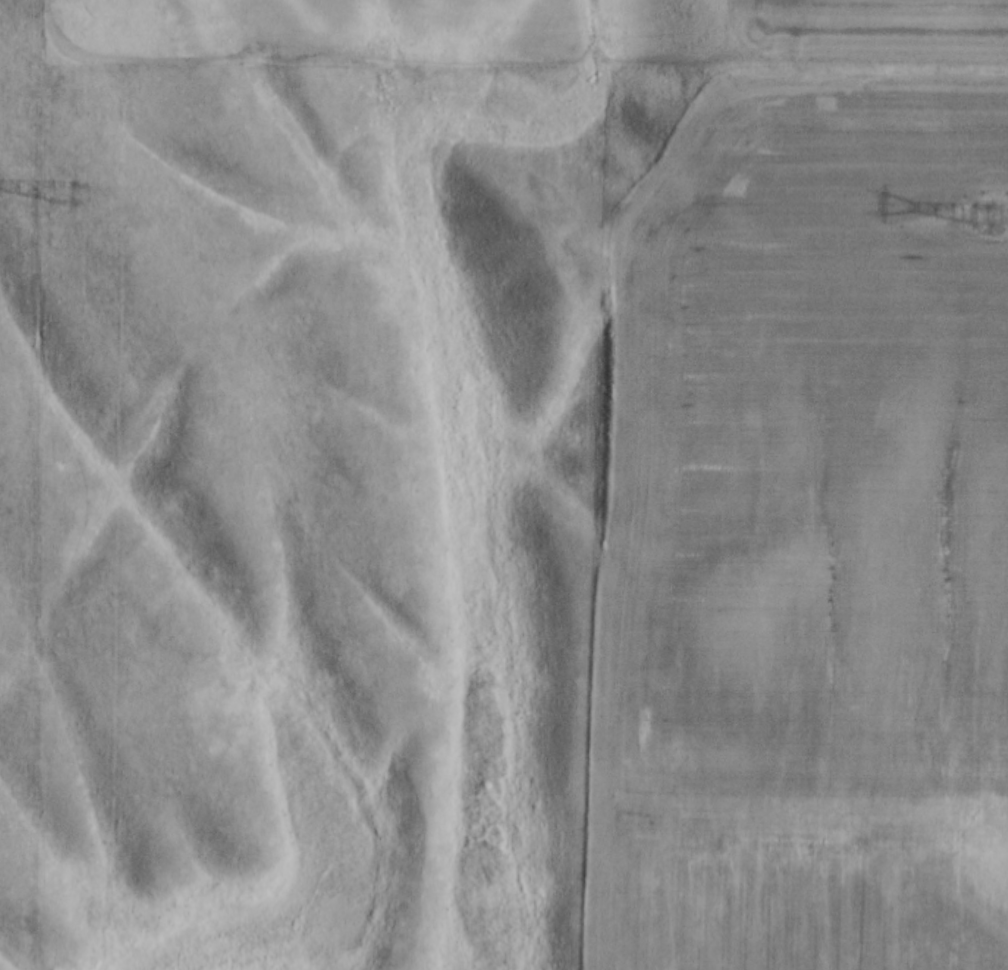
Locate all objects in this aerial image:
power tower: (80, 194)
power tower: (992, 216)

